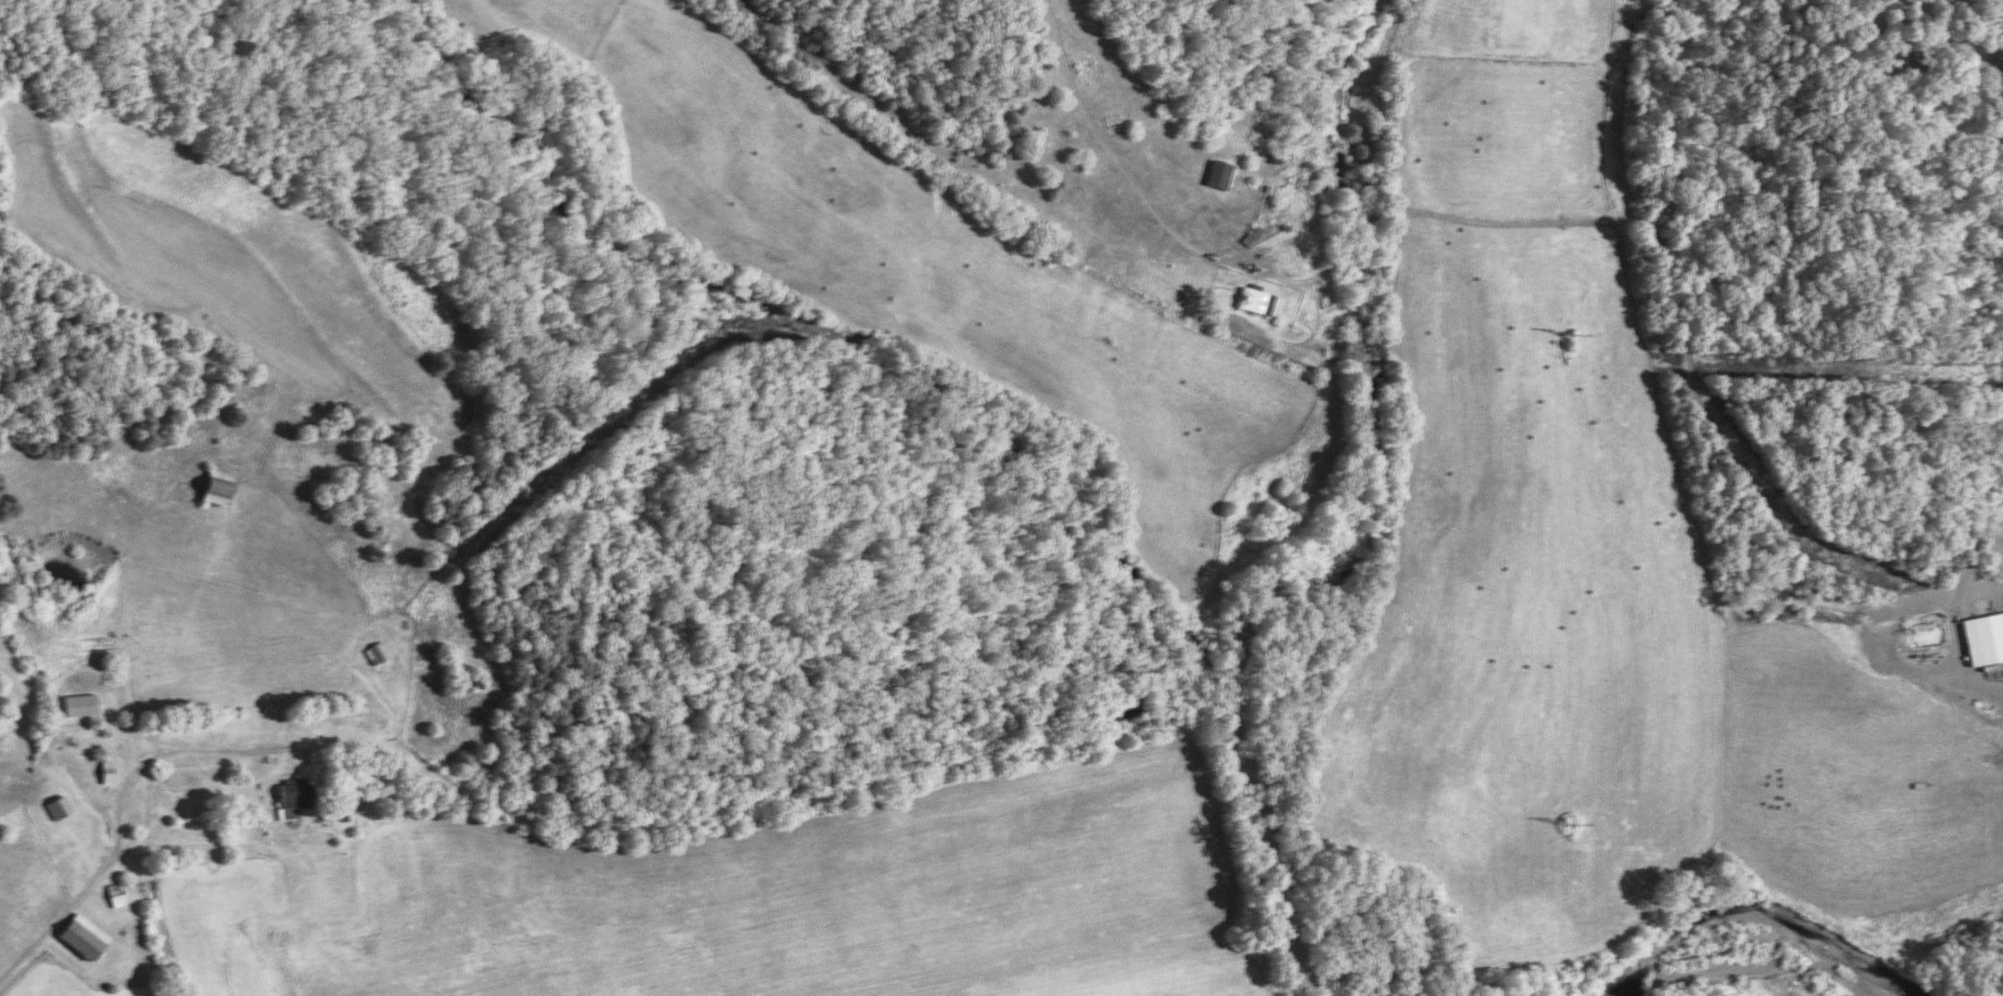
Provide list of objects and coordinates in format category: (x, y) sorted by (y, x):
building: (1219, 175)
building: (1251, 236)
building: (1254, 302)
power tower: (1575, 336)
building: (216, 488)
road: (1982, 529)
building: (1990, 639)
building: (377, 654)
building: (80, 707)
building: (107, 774)
building: (295, 797)
building: (59, 809)
power tower: (1574, 827)
building: (83, 938)
road: (26, 948)

